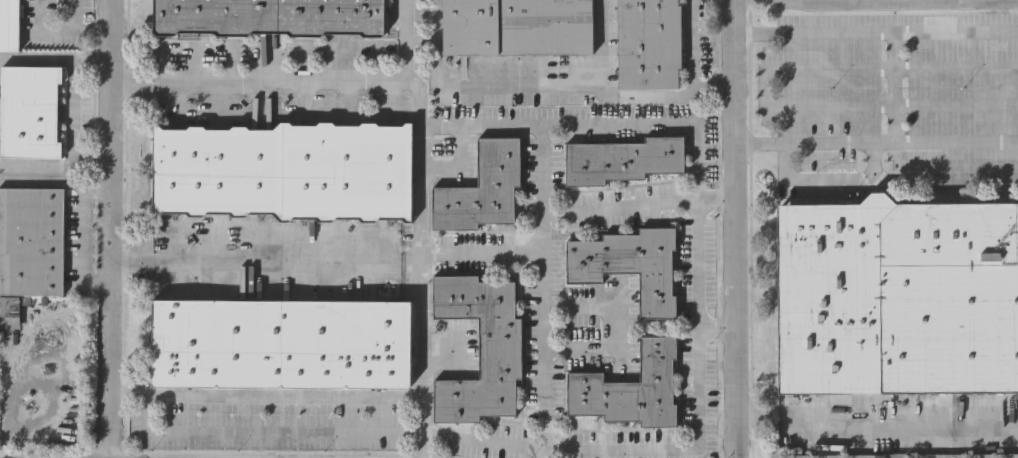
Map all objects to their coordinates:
road: (880, 1)
road: (1016, 1)
road: (897, 2)
building: (217, 15)
building: (332, 16)
building: (10, 24)
building: (519, 26)
road: (875, 29)
road: (59, 31)
road: (413, 40)
building: (650, 44)
road: (601, 45)
road: (691, 45)
road: (55, 60)
road: (895, 85)
road: (765, 87)
road: (544, 90)
parking lot: (887, 93)
building: (31, 110)
road: (71, 113)
road: (421, 116)
road: (876, 142)
road: (871, 160)
building: (623, 161)
road: (55, 166)
building: (218, 171)
building: (348, 172)
road: (883, 177)
road: (55, 179)
building: (481, 189)
road: (638, 208)
road: (111, 229)
road: (735, 229)
building: (32, 240)
road: (82, 244)
road: (468, 250)
road: (121, 260)
road: (265, 262)
road: (696, 264)
building: (630, 265)
road: (542, 292)
building: (898, 296)
building: (11, 312)
road: (617, 330)
road: (717, 331)
building: (217, 341)
building: (347, 342)
building: (478, 347)
building: (630, 389)
road: (265, 398)
road: (877, 430)
road: (267, 431)

